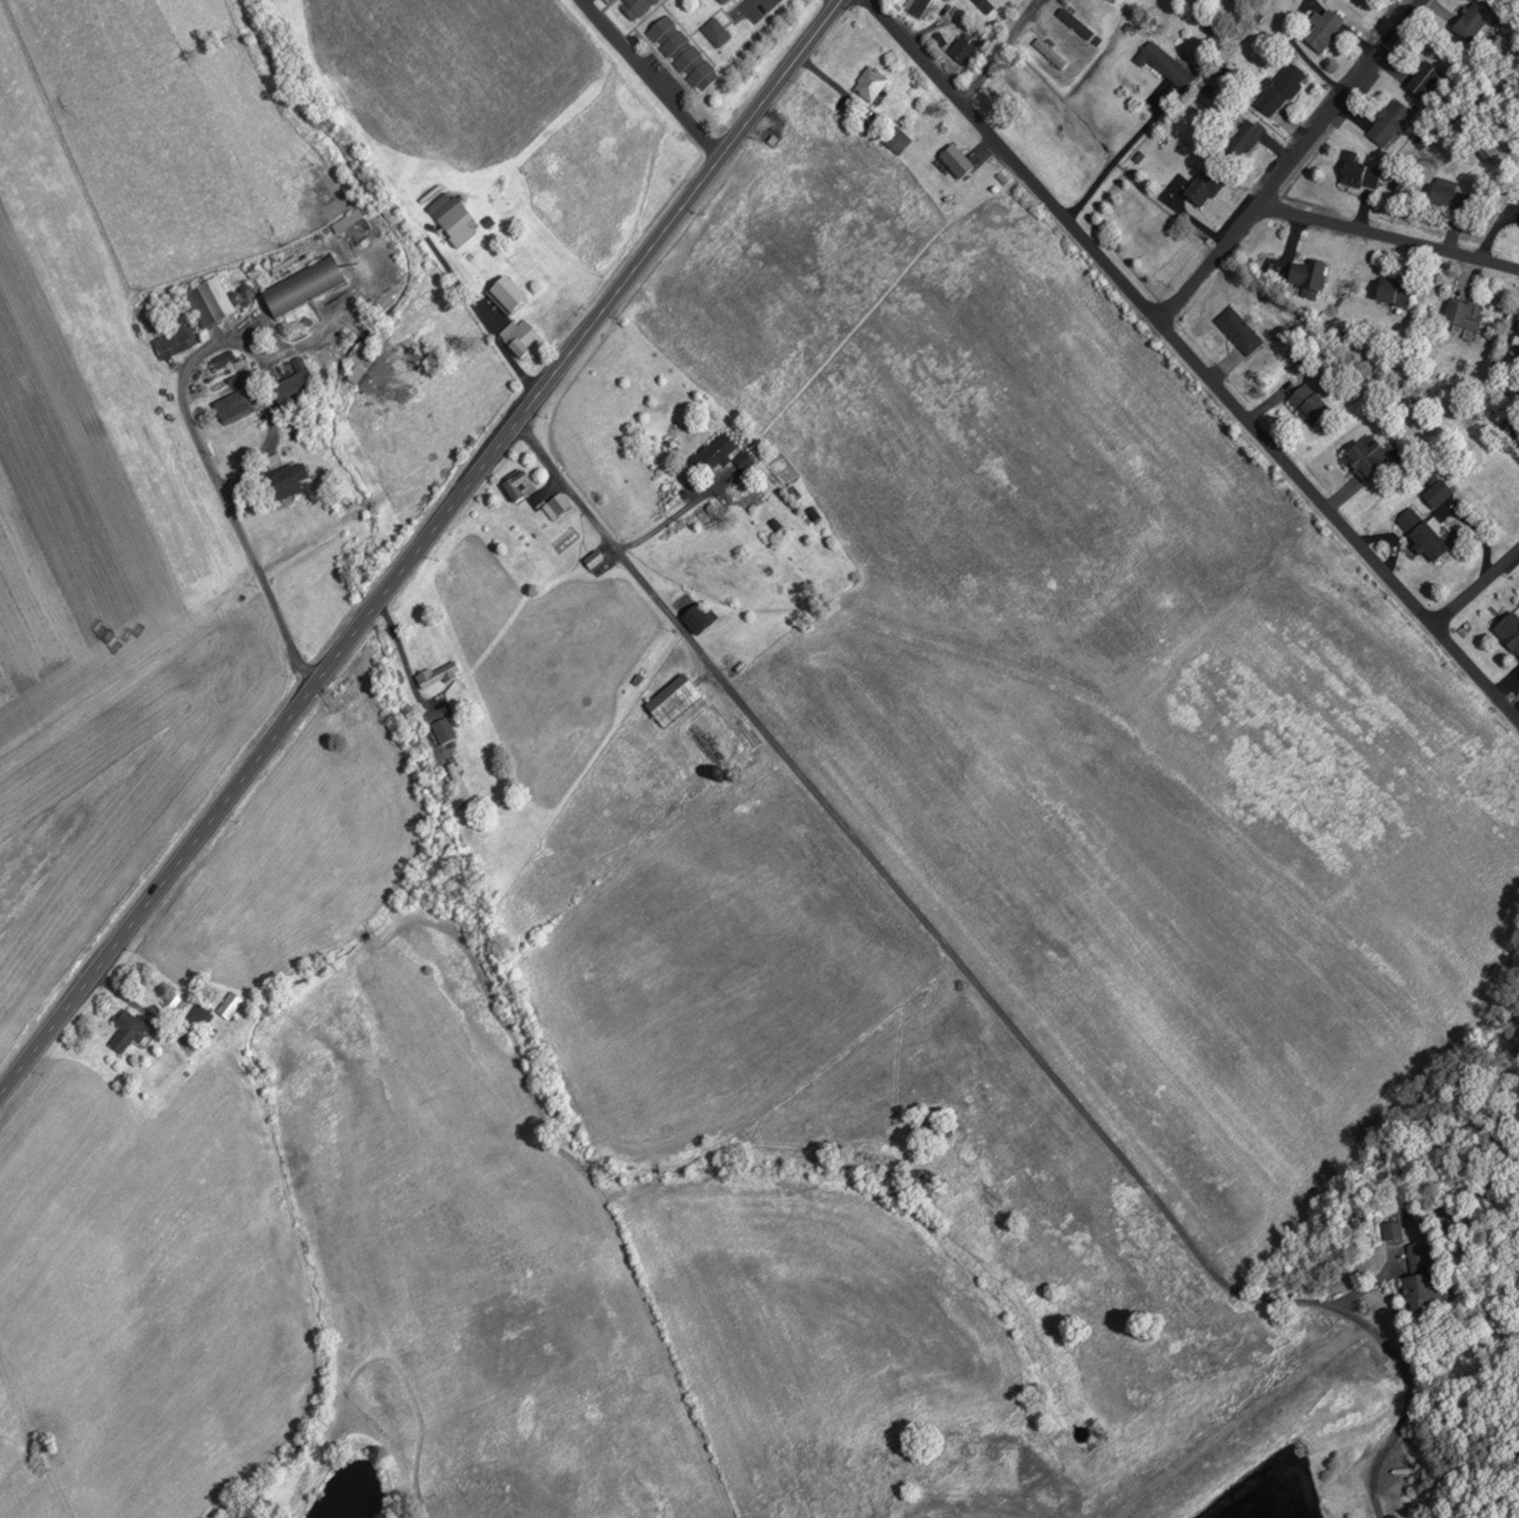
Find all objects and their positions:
building: (723, 1)
building: (985, 5)
building: (919, 6)
building: (636, 7)
building: (1472, 22)
building: (1076, 23)
building: (1325, 30)
building: (716, 32)
road: (995, 48)
building: (963, 49)
building: (684, 53)
building: (1050, 53)
building: (1166, 64)
road: (650, 78)
building: (1425, 79)
building: (870, 84)
building: (1281, 88)
building: (1389, 123)
building: (1244, 139)
building: (897, 140)
road: (1290, 159)
building: (958, 162)
building: (1361, 174)
building: (1203, 188)
building: (1450, 196)
building: (454, 218)
road: (1386, 234)
building: (1309, 273)
building: (304, 284)
building: (1396, 291)
building: (210, 301)
building: (1466, 312)
building: (1239, 329)
building: (520, 335)
building: (176, 339)
road: (1193, 357)
building: (296, 389)
building: (1310, 403)
building: (233, 405)
road: (188, 412)
building: (715, 450)
building: (743, 459)
building: (1368, 459)
building: (284, 482)
building: (518, 483)
road: (544, 489)
building: (1438, 491)
building: (555, 504)
road: (675, 511)
building: (813, 512)
building: (775, 523)
building: (1423, 532)
road: (417, 544)
road: (609, 547)
building: (593, 558)
road: (1477, 580)
building: (698, 618)
building: (1510, 631)
road: (404, 659)
building: (437, 673)
building: (638, 675)
building: (673, 698)
building: (443, 729)
building: (457, 777)
road: (985, 994)
building: (174, 1002)
building: (229, 1003)
building: (199, 1014)
building: (130, 1028)
building: (1393, 1230)
building: (1417, 1257)
road: (1367, 1288)
building: (1422, 1291)
dam: (1238, 1432)
building: (1400, 1472)
dam: (980, 1517)

